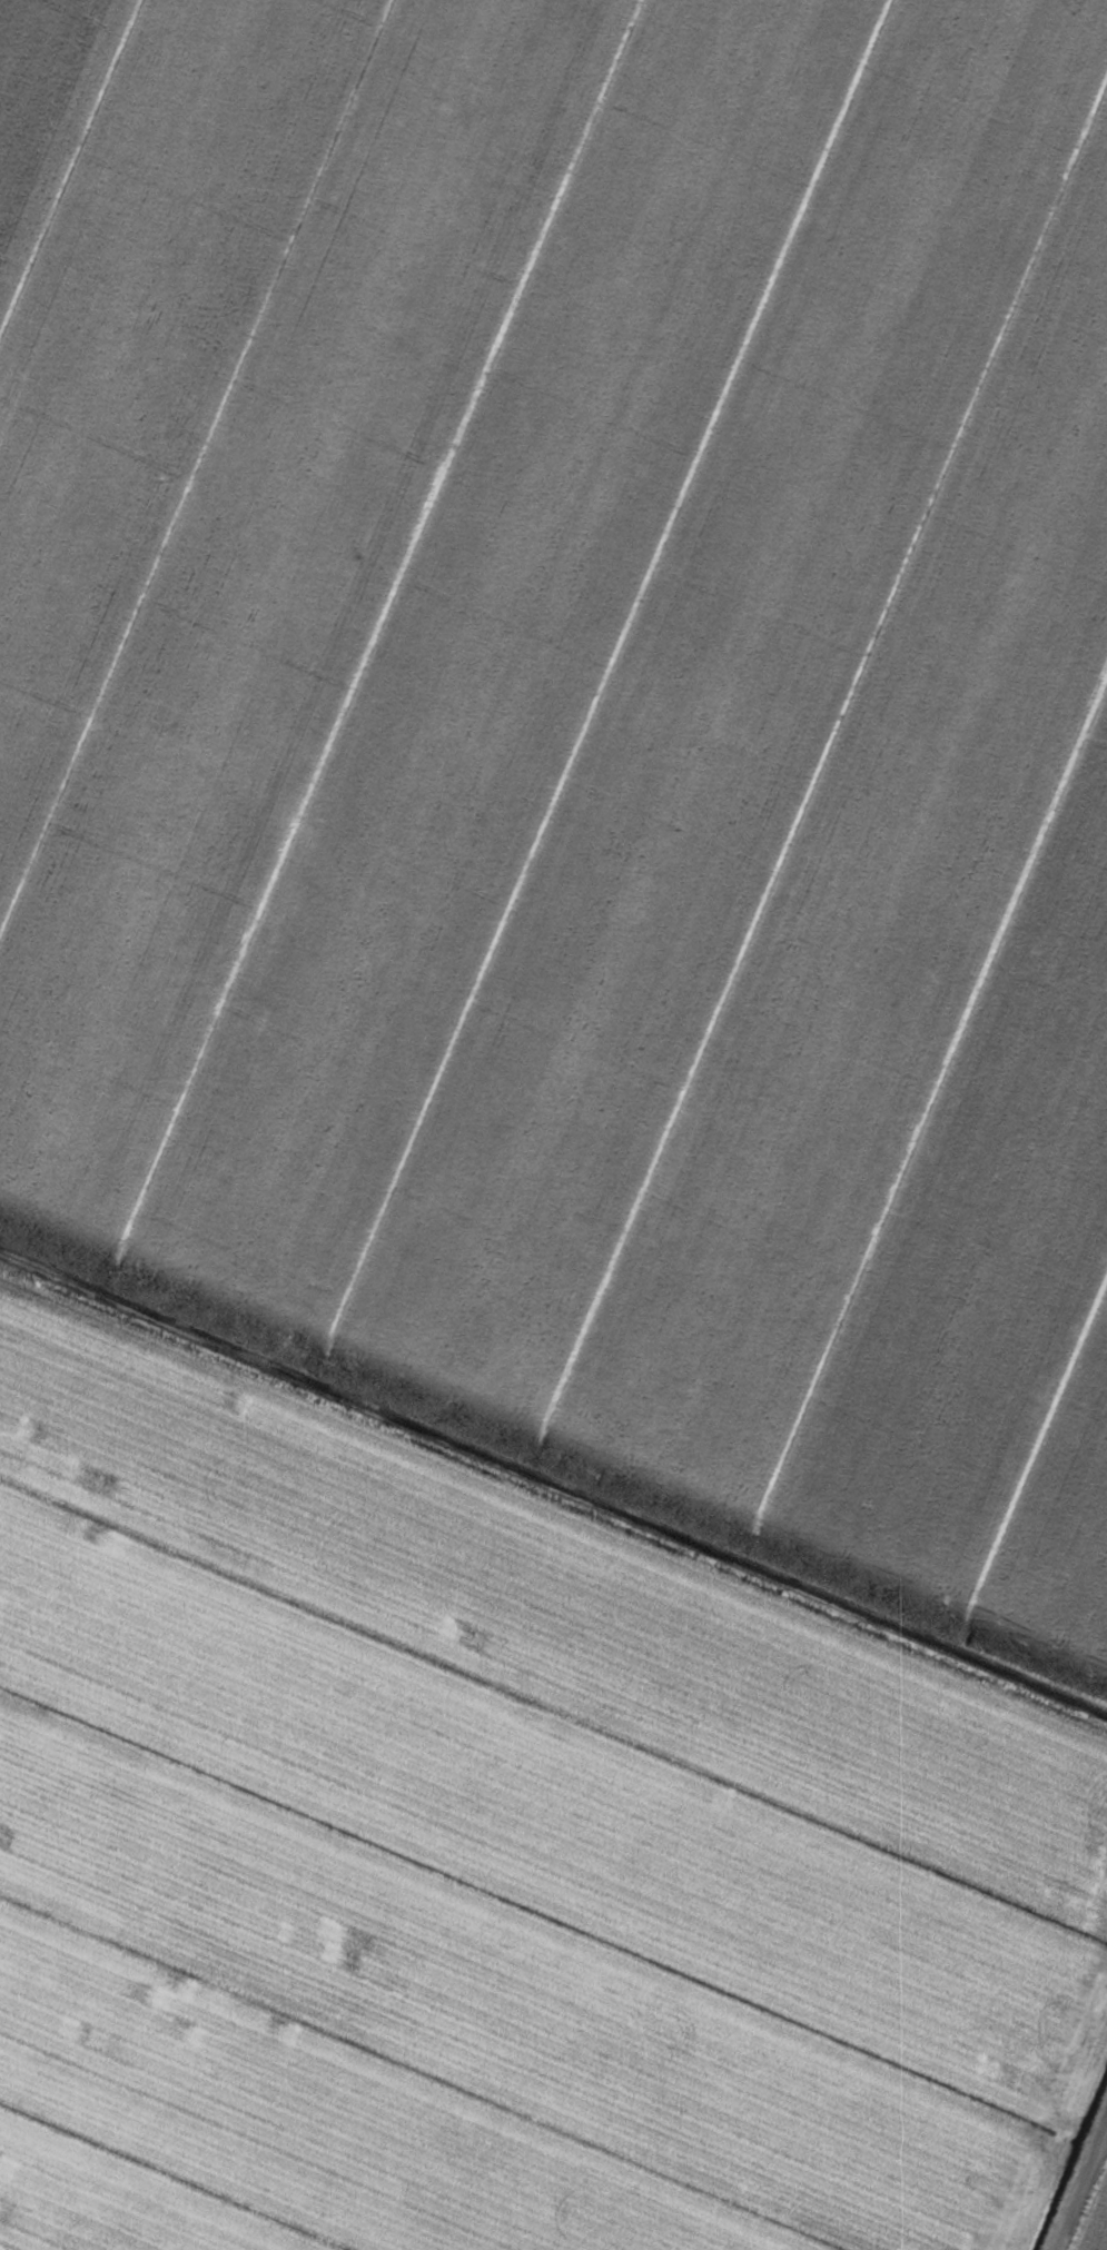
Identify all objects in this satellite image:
crop: (553, 1124)
road: (1088, 2204)

